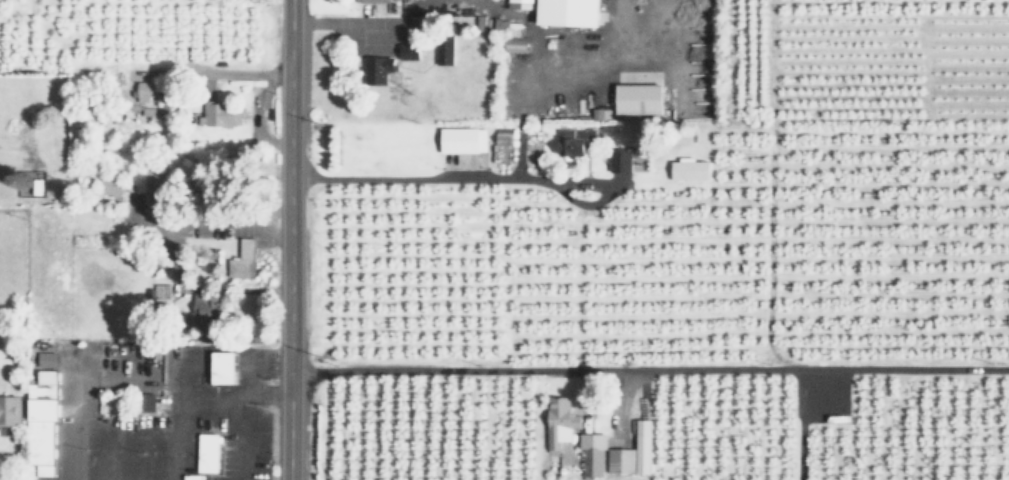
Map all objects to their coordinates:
building: (370, 0)
building: (522, 4)
building: (569, 12)
road: (345, 22)
building: (440, 48)
building: (409, 50)
building: (377, 69)
building: (146, 91)
building: (639, 98)
building: (220, 114)
building: (504, 136)
building: (572, 139)
building: (463, 140)
building: (620, 160)
building: (686, 167)
road: (445, 179)
building: (108, 181)
building: (154, 182)
road: (209, 223)
road: (289, 240)
building: (241, 258)
building: (206, 303)
building: (47, 359)
building: (219, 366)
road: (650, 367)
road: (630, 389)
building: (143, 401)
building: (8, 409)
building: (40, 423)
building: (558, 423)
road: (800, 423)
building: (206, 452)
building: (589, 453)
building: (630, 454)

